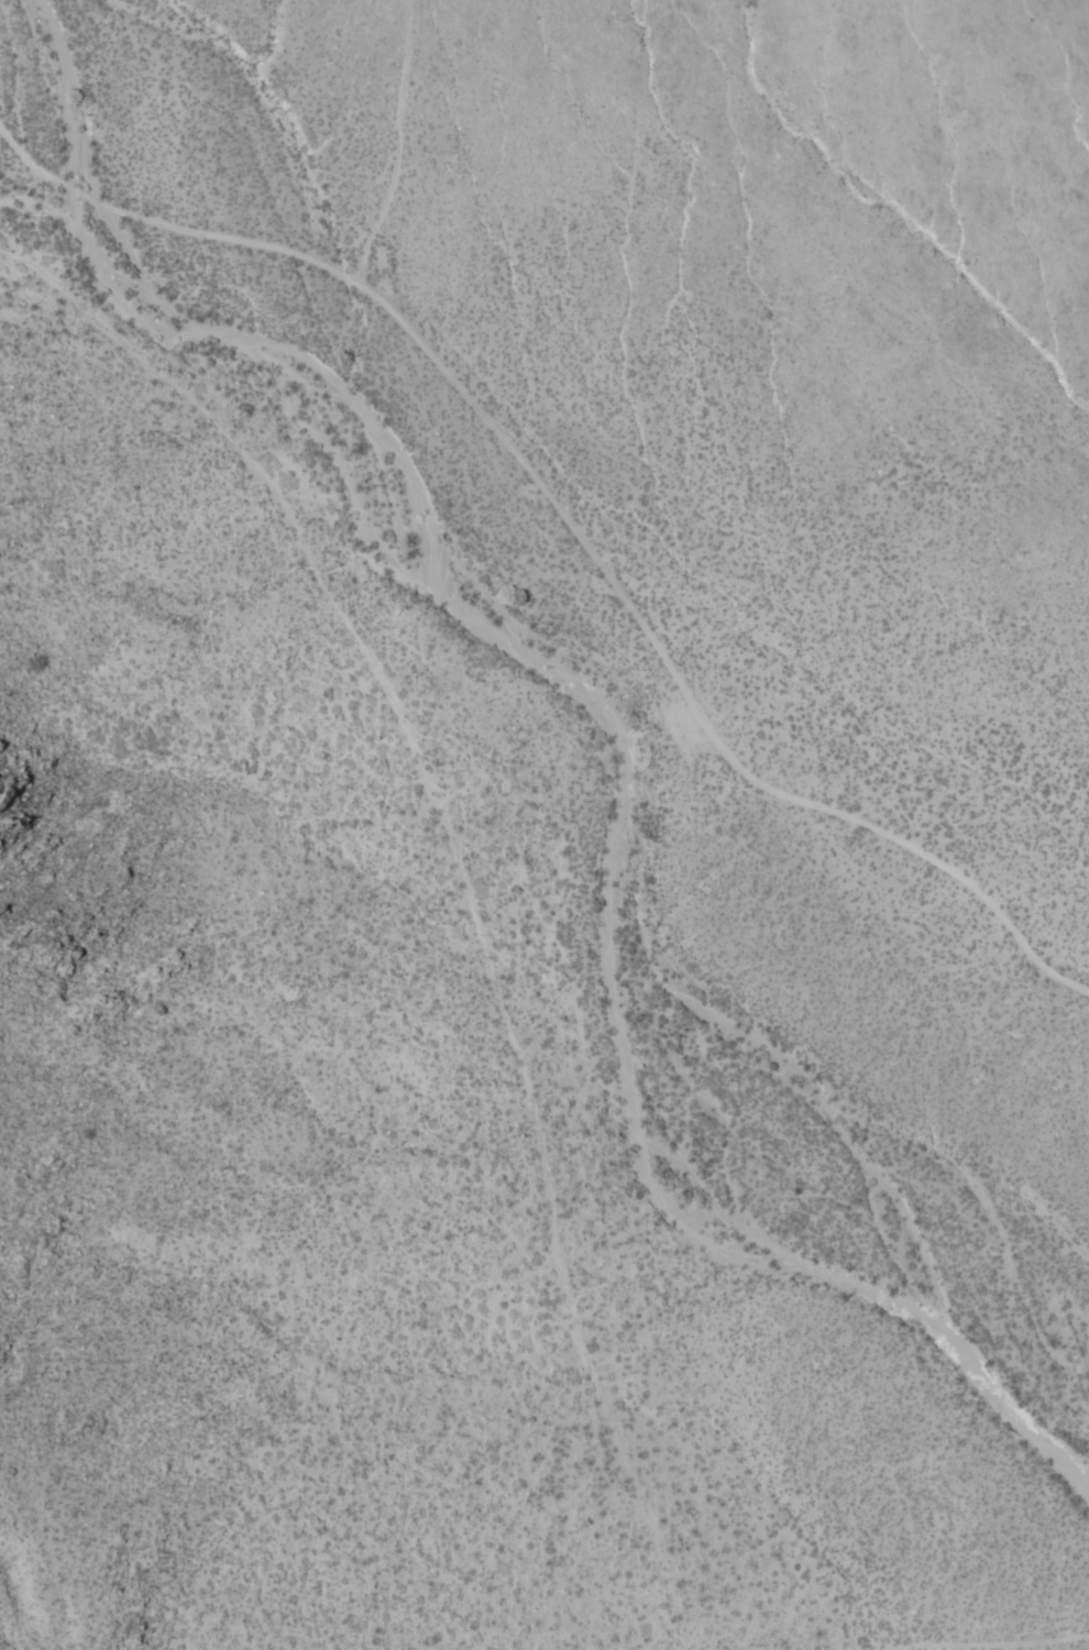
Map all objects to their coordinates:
road: (570, 521)
road: (466, 880)
road: (983, 1645)

